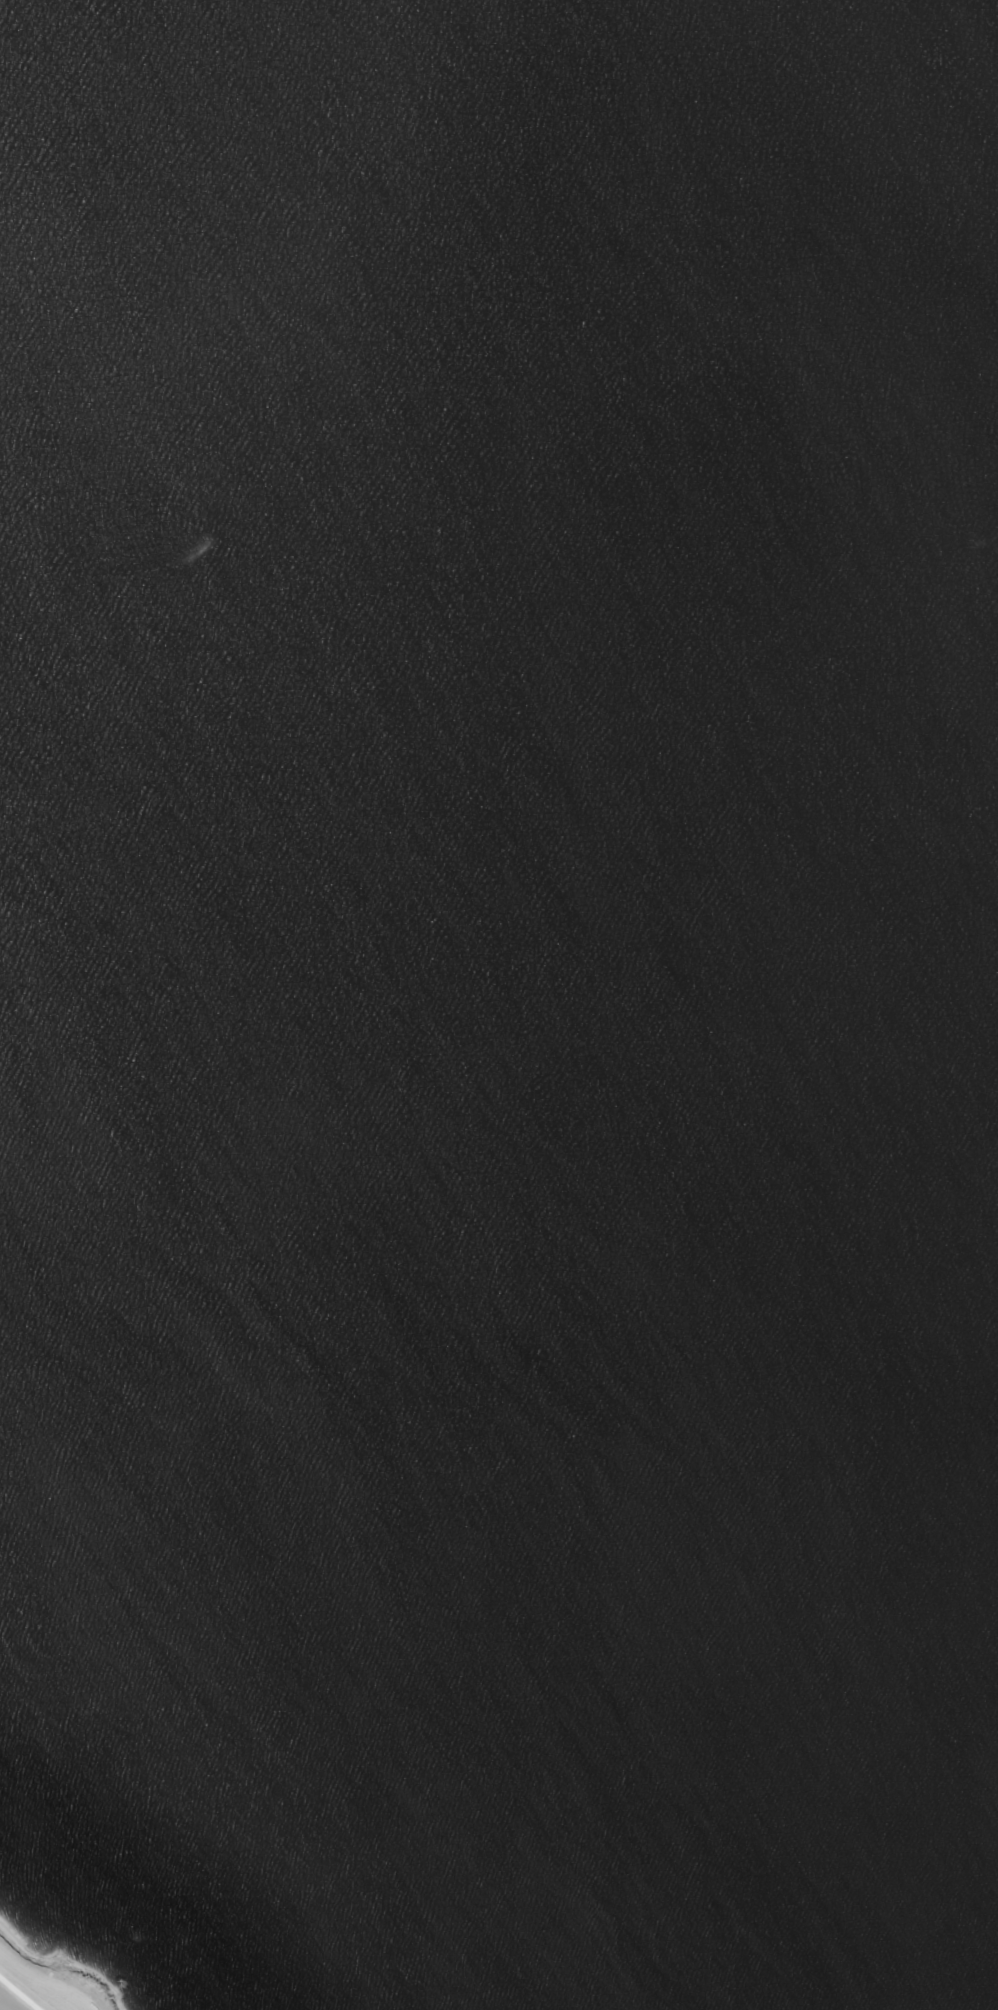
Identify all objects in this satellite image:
road: (21, 1992)

